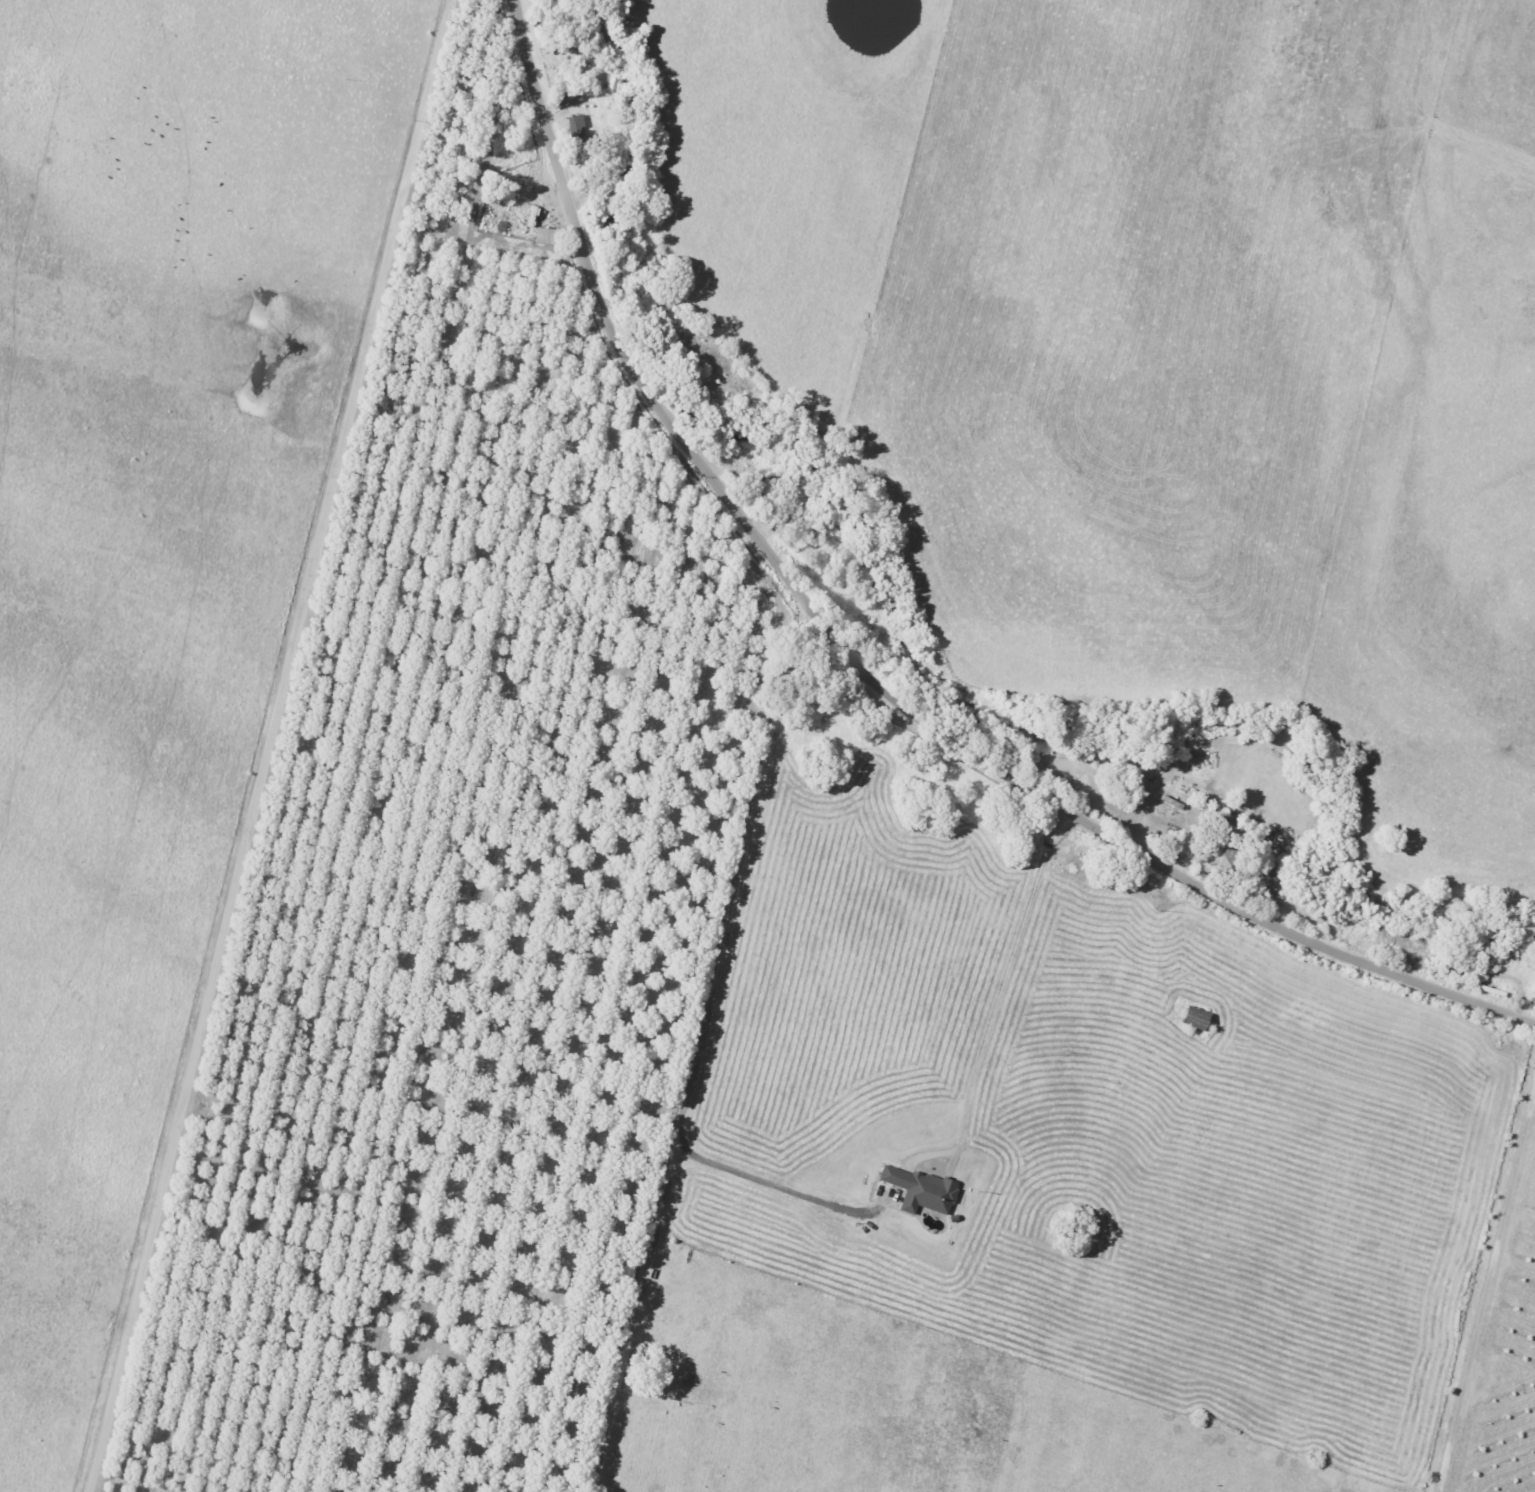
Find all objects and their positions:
road: (861, 669)
road: (267, 745)
road: (1008, 979)
road: (700, 1047)
road: (780, 1190)
road: (1486, 1294)

